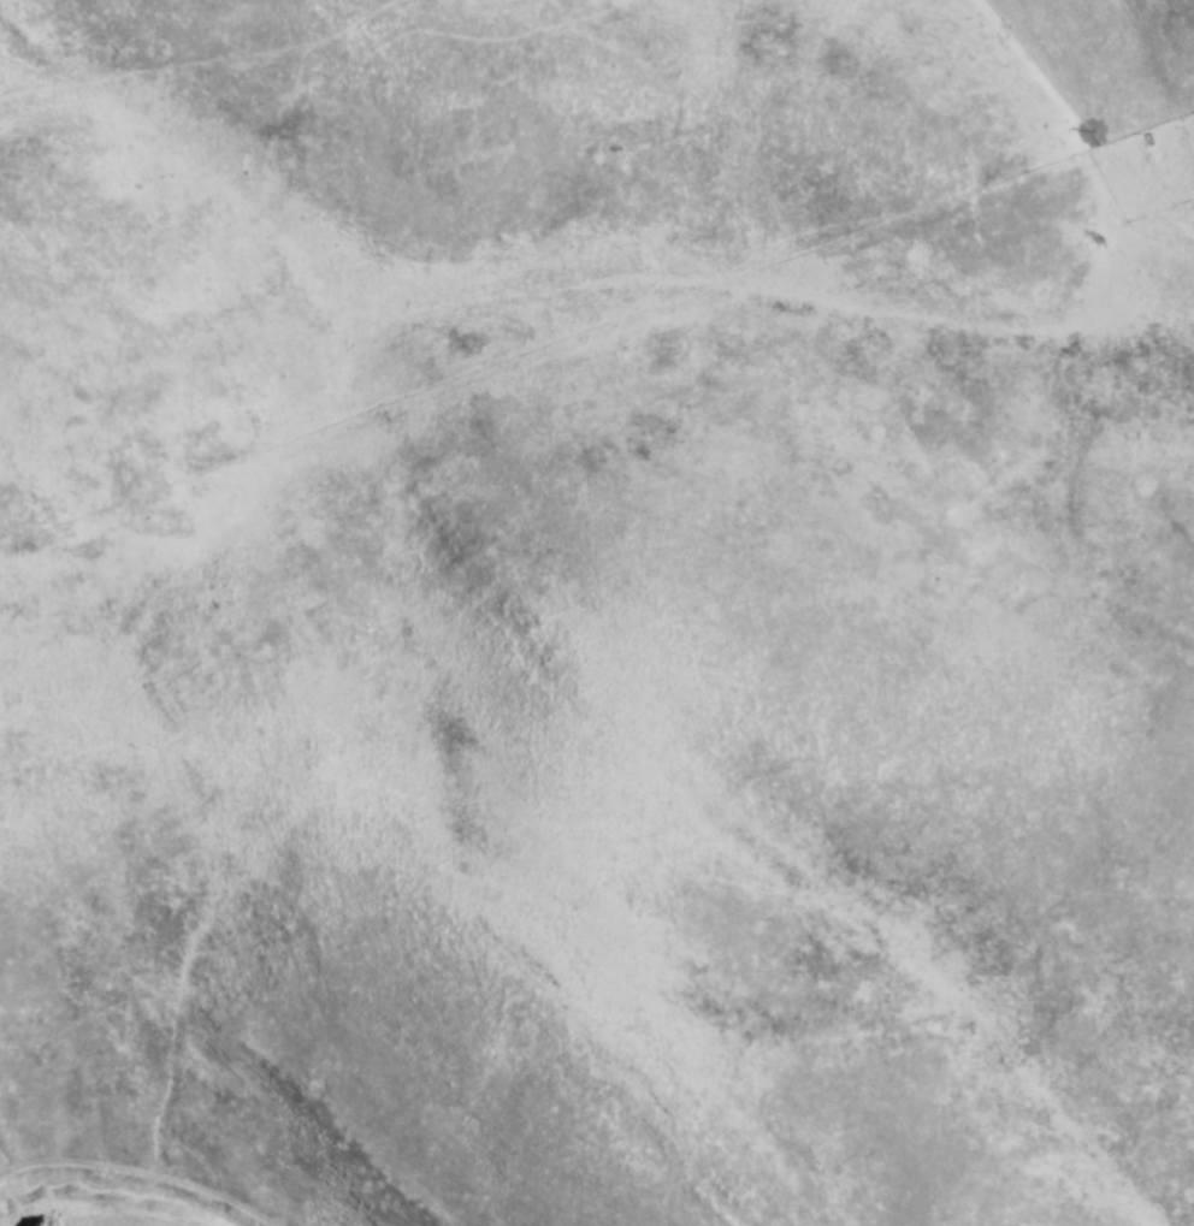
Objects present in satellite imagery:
road: (137, 1178)

